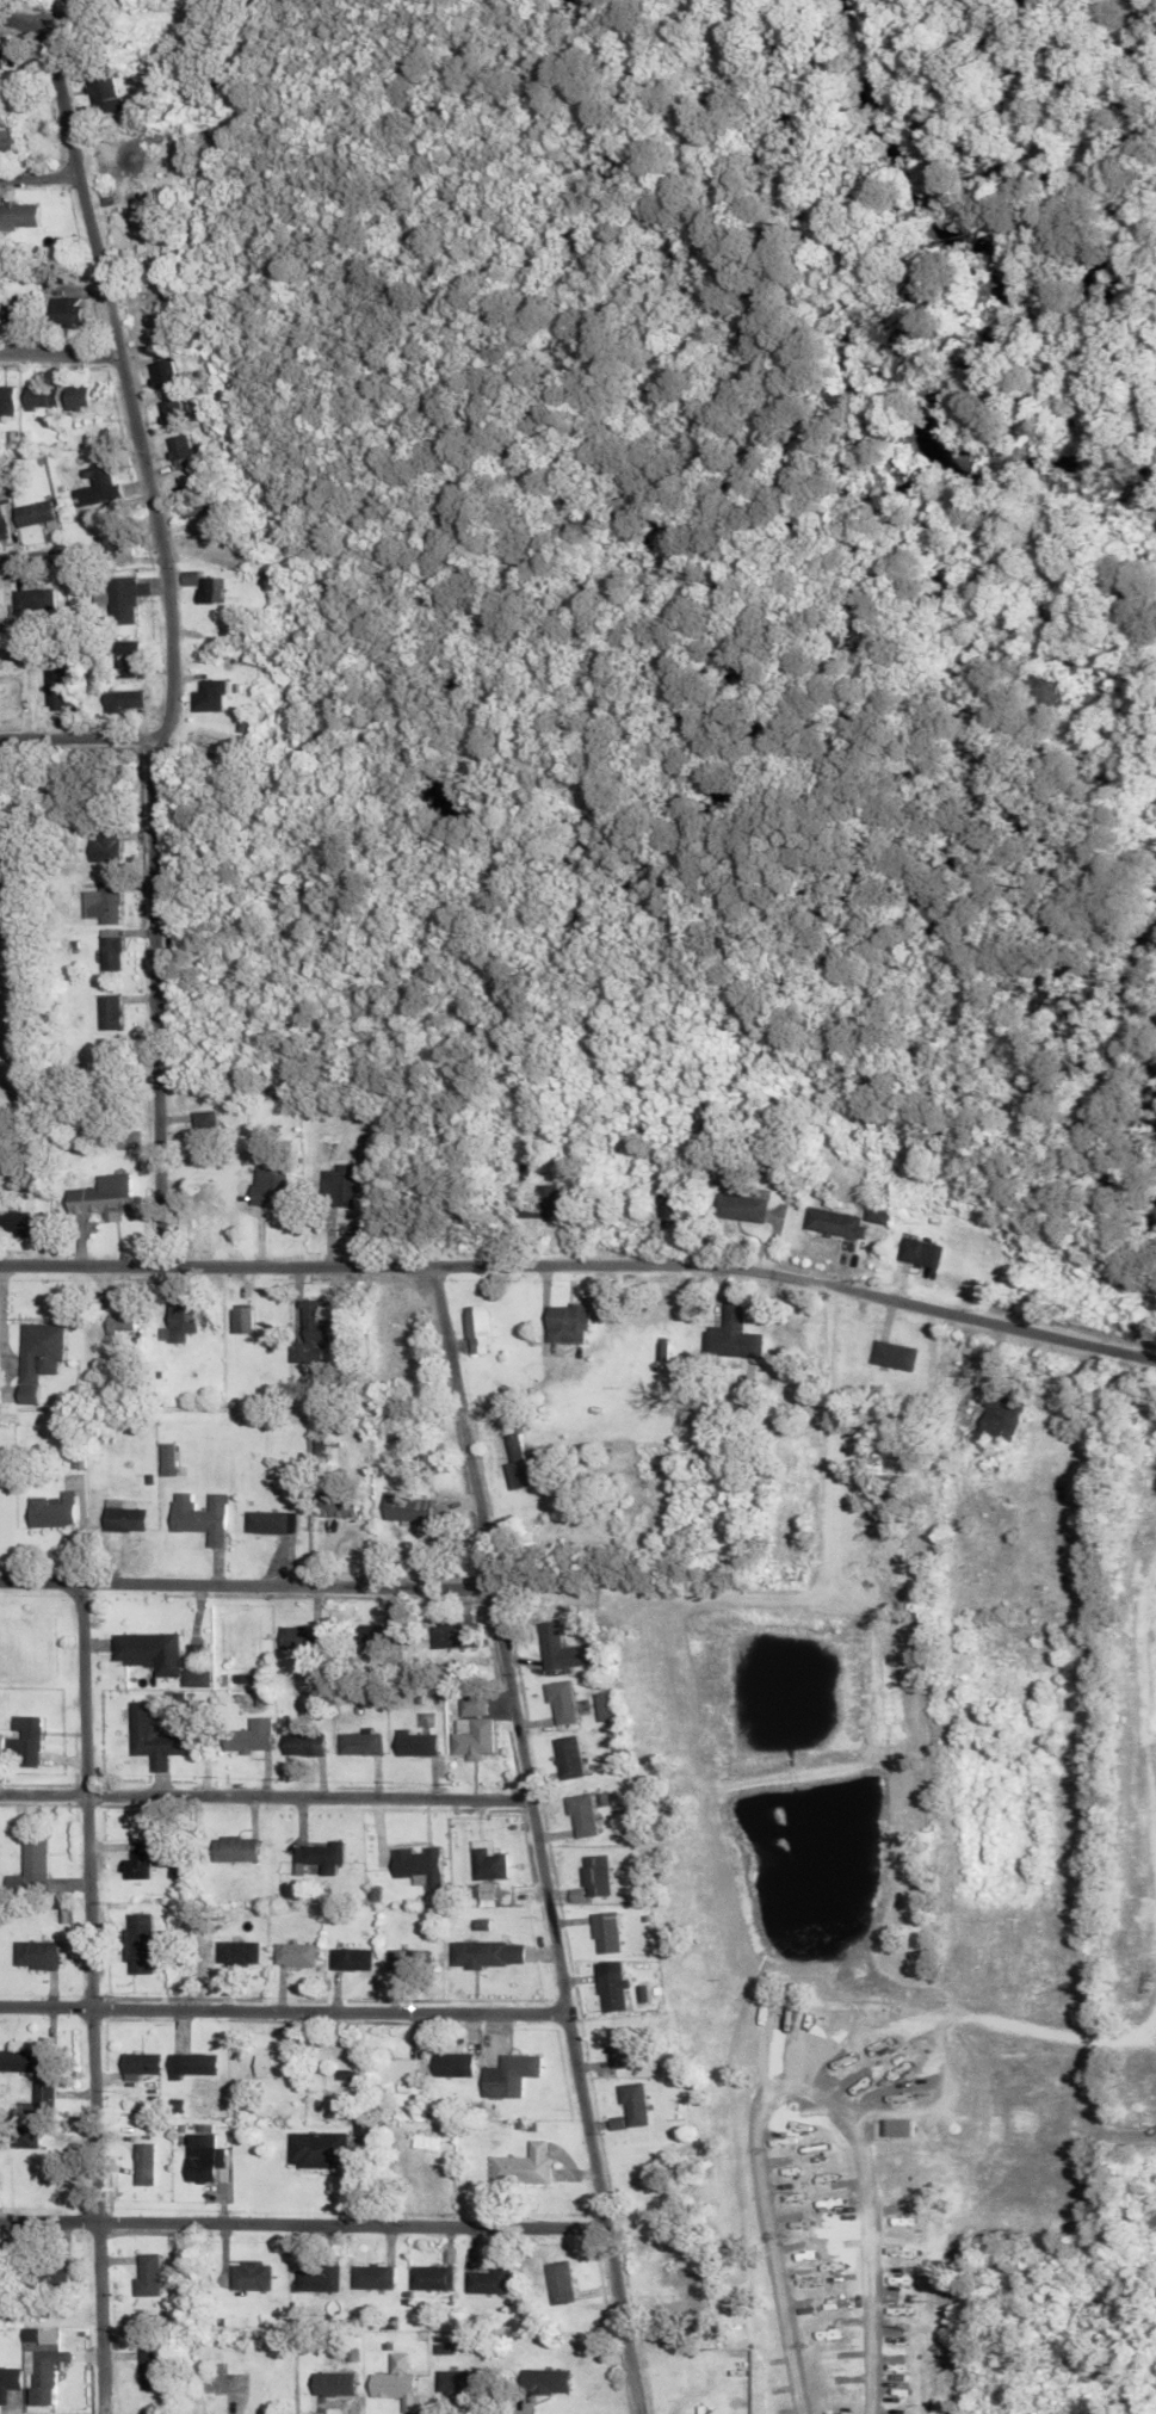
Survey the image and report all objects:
road: (8, 6)
road: (20, 14)
road: (39, 174)
road: (60, 348)
road: (6, 555)
road: (172, 635)
road: (81, 734)
road: (582, 1259)
road: (248, 1578)
road: (267, 1790)
road: (543, 1836)
road: (93, 1994)
road: (285, 2002)
road: (304, 2218)

